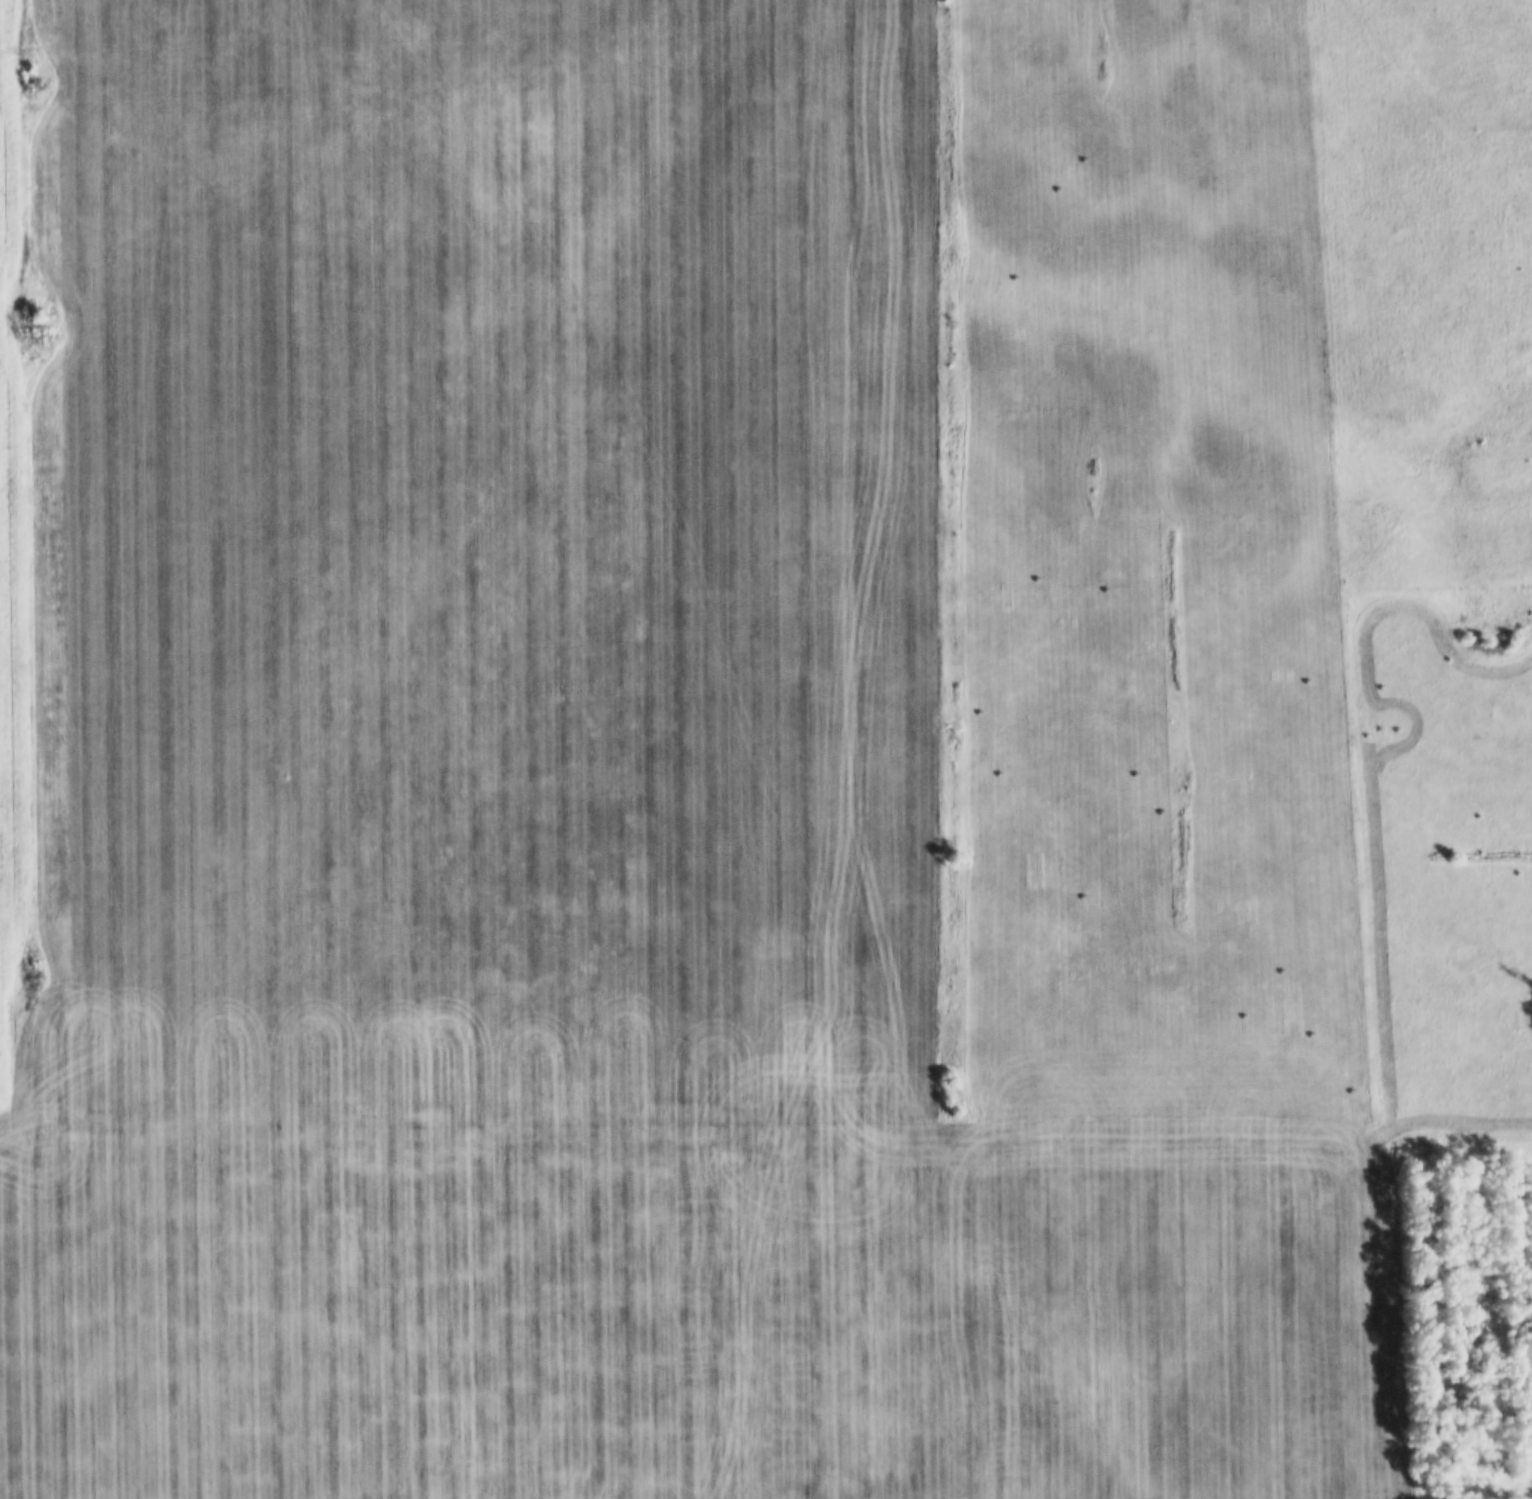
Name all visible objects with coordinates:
road: (58, 296)

